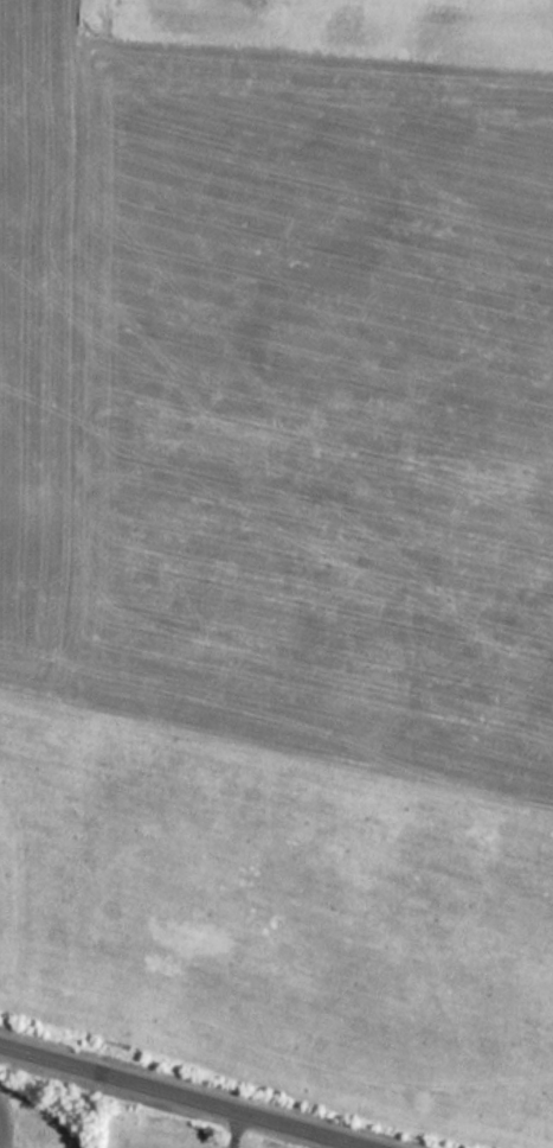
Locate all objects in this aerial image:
road: (185, 1096)

